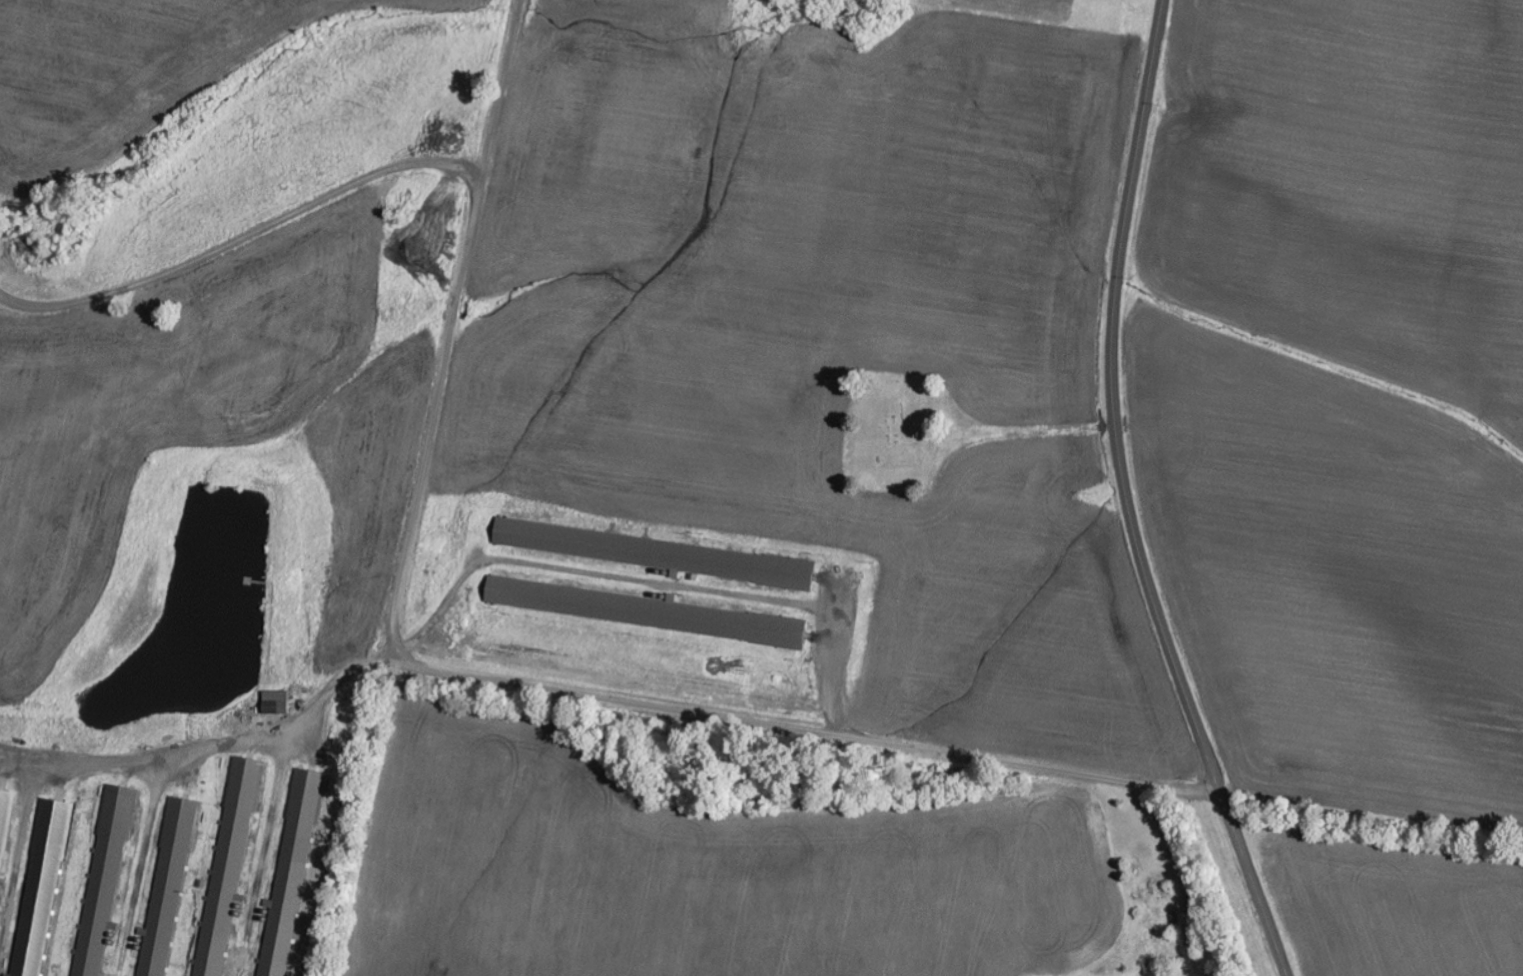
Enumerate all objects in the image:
road: (521, 2)
road: (1031, 430)
park: (899, 433)
road: (1125, 498)
building: (663, 555)
building: (645, 611)
road: (480, 678)
building: (279, 703)
building: (231, 863)
building: (292, 877)
building: (106, 879)
building: (43, 888)
building: (168, 890)

